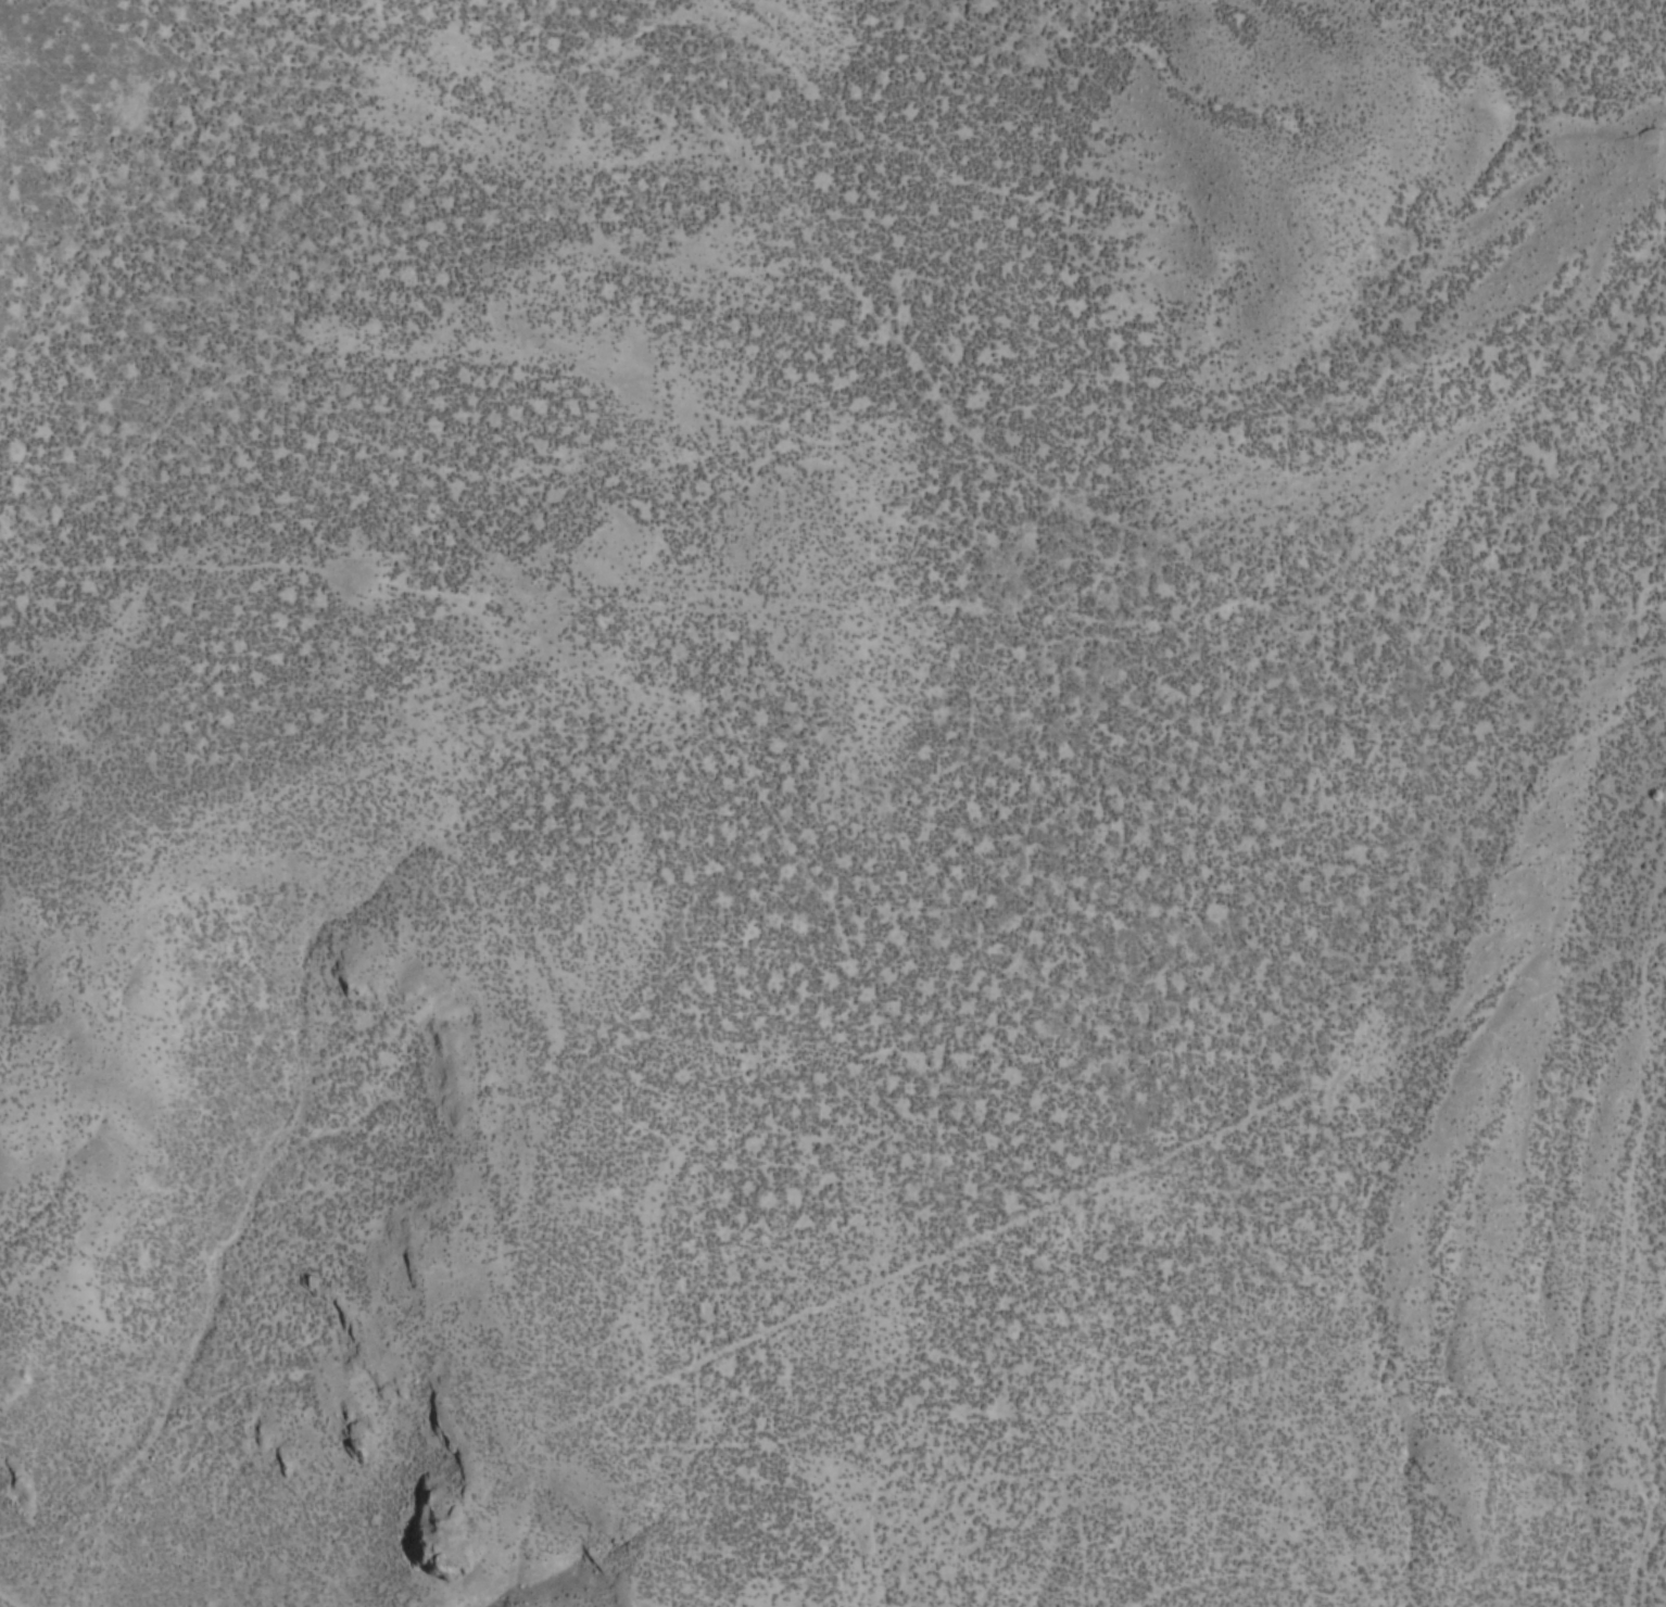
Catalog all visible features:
road: (13, 1598)

